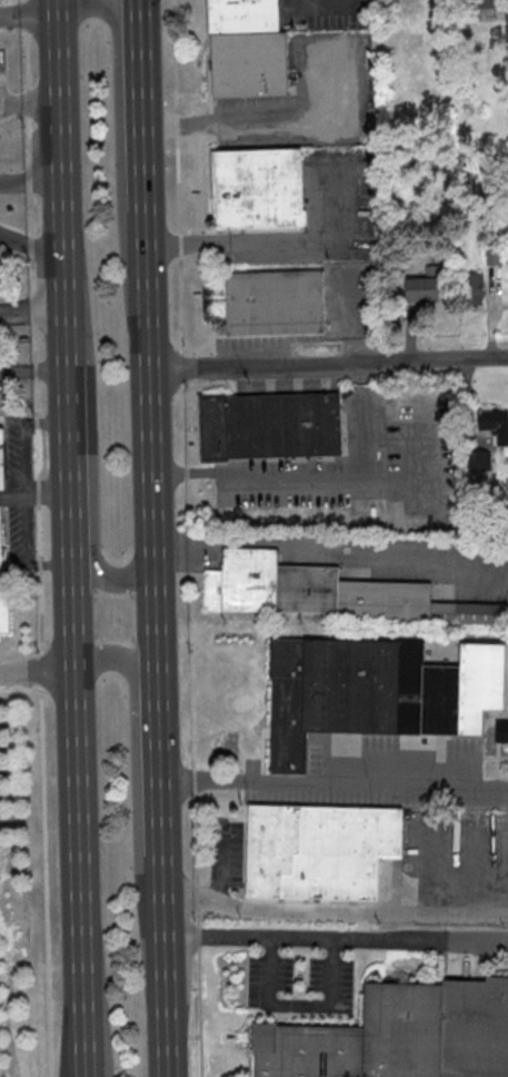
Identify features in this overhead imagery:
road: (325, 3)
road: (138, 4)
building: (478, 6)
road: (29, 10)
building: (248, 49)
road: (141, 93)
road: (117, 121)
road: (251, 121)
road: (31, 184)
building: (258, 187)
road: (62, 188)
road: (145, 191)
road: (275, 243)
road: (32, 244)
building: (495, 256)
building: (425, 288)
building: (475, 288)
building: (266, 299)
road: (14, 304)
road: (47, 304)
road: (33, 327)
road: (328, 360)
road: (14, 367)
road: (48, 367)
building: (3, 401)
building: (271, 424)
road: (23, 435)
road: (150, 436)
building: (486, 436)
road: (412, 446)
road: (90, 455)
building: (2, 460)
road: (70, 471)
road: (282, 481)
road: (12, 493)
road: (48, 493)
building: (361, 511)
road: (183, 538)
road: (17, 554)
building: (2, 571)
building: (305, 589)
road: (40, 670)
road: (37, 672)
building: (377, 691)
building: (502, 730)
road: (40, 739)
road: (158, 761)
road: (135, 762)
road: (333, 781)
road: (78, 822)
building: (320, 849)
road: (223, 866)
road: (332, 910)
road: (46, 933)
road: (336, 939)
road: (165, 964)
road: (297, 1002)
road: (97, 1034)
building: (398, 1035)

